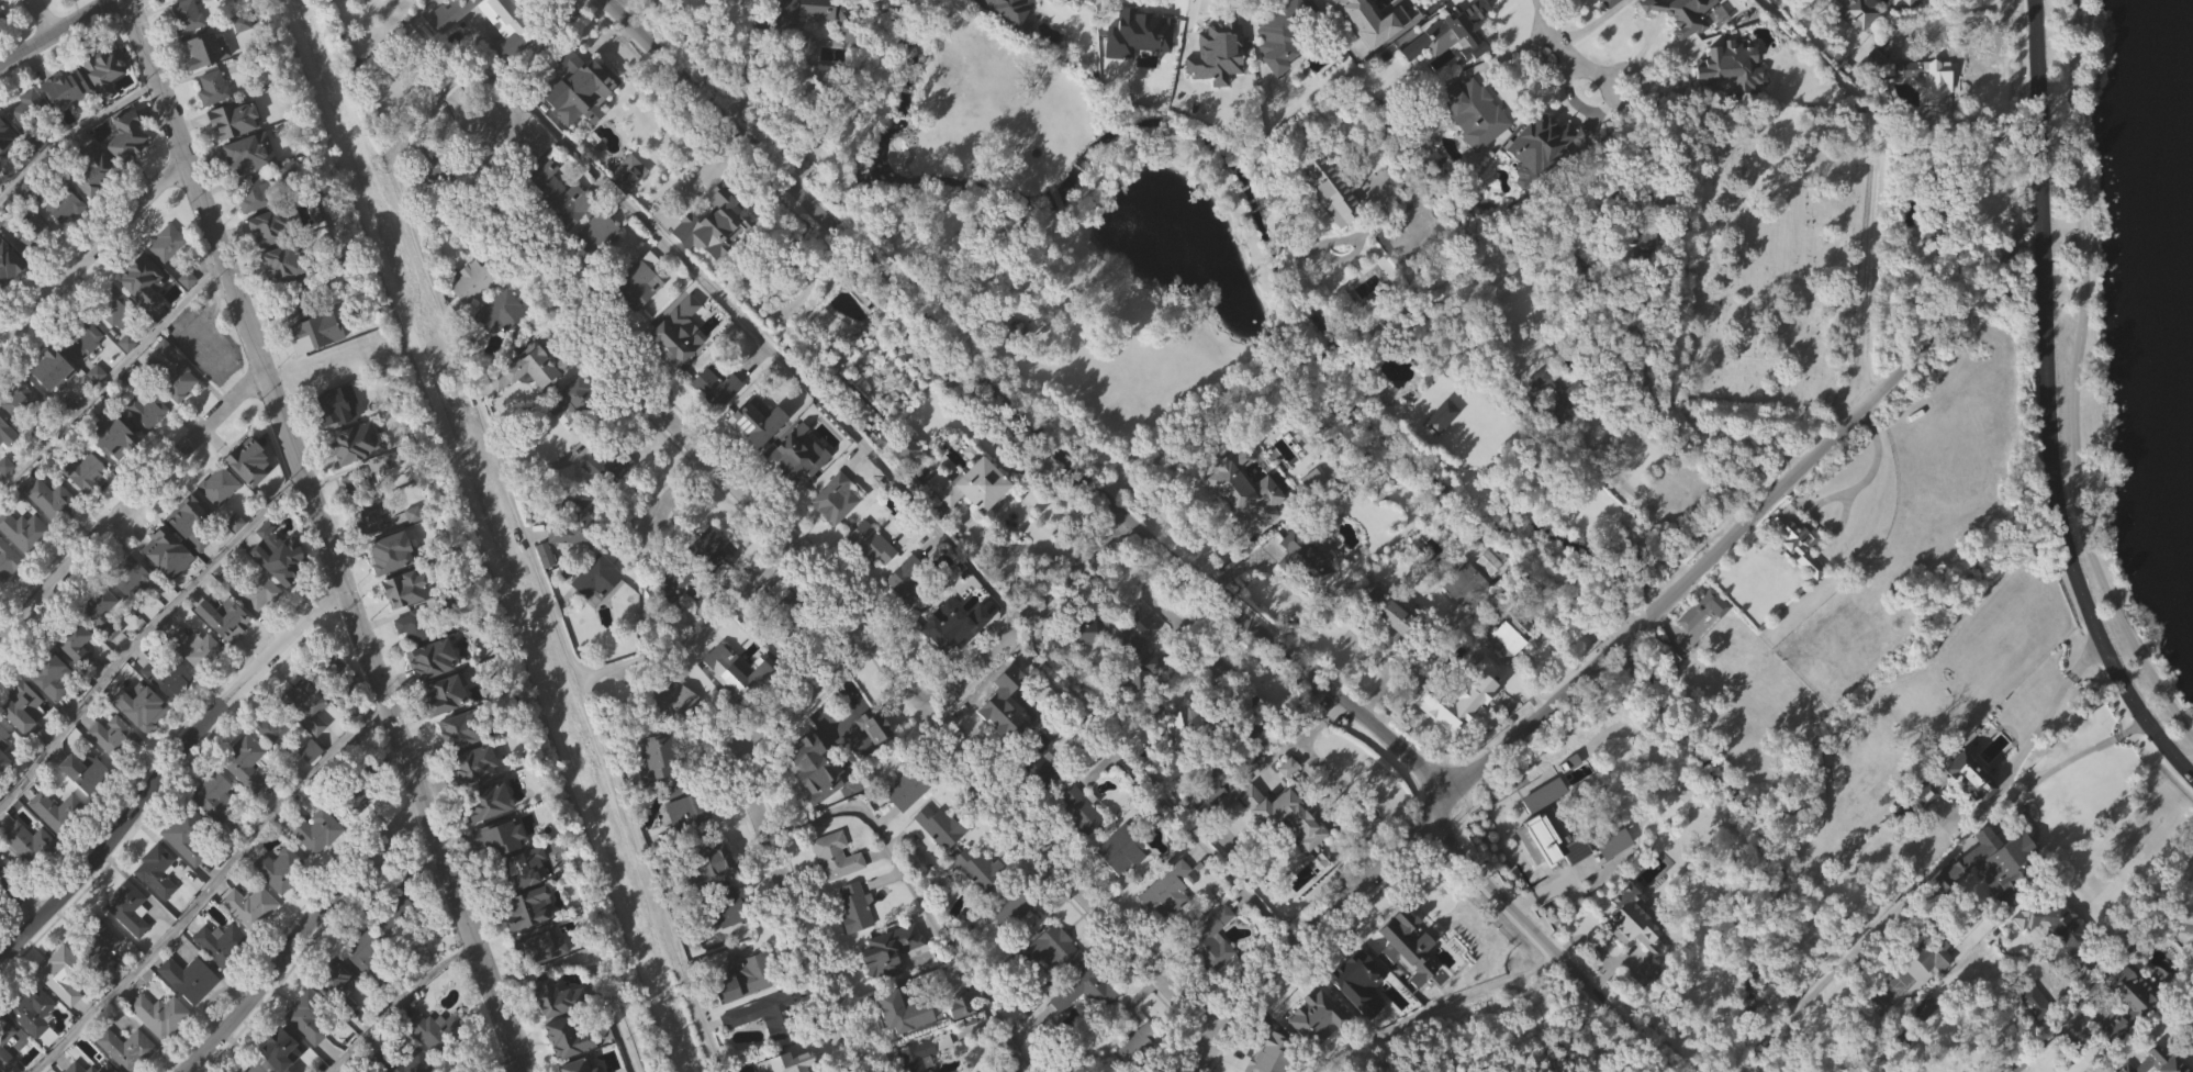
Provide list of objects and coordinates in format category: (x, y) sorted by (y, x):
building: (444, 0)
building: (727, 0)
building: (717, 1)
building: (1906, 1)
building: (1344, 2)
building: (1607, 3)
building: (69, 8)
building: (1011, 9)
building: (1857, 12)
building: (415, 13)
road: (43, 15)
building: (444, 15)
building: (2, 16)
building: (188, 18)
building: (508, 21)
building: (1678, 24)
building: (1284, 26)
road: (55, 31)
building: (855, 31)
building: (1003, 34)
building: (1686, 38)
building: (806, 43)
building: (188, 49)
building: (2, 51)
building: (445, 52)
building: (201, 53)
building: (504, 54)
building: (1137, 56)
building: (1219, 62)
road: (1553, 64)
building: (101, 66)
building: (1452, 69)
building: (1280, 70)
road: (765, 77)
building: (1920, 78)
building: (68, 85)
building: (1130, 85)
building: (577, 88)
building: (214, 89)
building: (1731, 102)
building: (104, 107)
building: (30, 109)
building: (1475, 114)
building: (1920, 115)
building: (67, 123)
building: (214, 123)
building: (227, 124)
building: (581, 124)
building: (4, 133)
road: (71, 135)
building: (127, 137)
building: (32, 141)
building: (1475, 147)
building: (246, 153)
building: (7, 170)
building: (94, 170)
building: (128, 172)
building: (494, 174)
building: (629, 178)
road: (1883, 180)
building: (1544, 183)
building: (1593, 183)
building: (1336, 190)
road: (399, 191)
building: (260, 194)
building: (61, 202)
building: (1647, 202)
building: (1932, 203)
building: (93, 204)
building: (447, 205)
building: (629, 208)
building: (1332, 225)
building: (29, 230)
building: (265, 232)
building: (569, 237)
building: (65, 239)
building: (167, 244)
road: (91, 252)
building: (716, 260)
building: (276, 261)
building: (8, 267)
building: (600, 267)
building: (1574, 267)
building: (35, 269)
building: (1647, 278)
building: (143, 280)
building: (169, 280)
building: (470, 282)
road: (232, 290)
building: (299, 297)
building: (9, 301)
building: (116, 305)
building: (501, 312)
building: (188, 314)
building: (640, 315)
building: (144, 316)
building: (473, 317)
park: (2125, 325)
building: (307, 330)
building: (81, 335)
building: (115, 340)
building: (206, 342)
building: (503, 347)
building: (679, 364)
building: (529, 366)
building: (317, 367)
building: (51, 368)
building: (86, 375)
road: (1249, 375)
building: (208, 377)
building: (128, 378)
building: (172, 378)
road: (110, 380)
road: (2074, 383)
building: (717, 387)
building: (1564, 393)
building: (19, 399)
building: (532, 403)
building: (54, 404)
building: (328, 405)
building: (577, 405)
road: (2051, 406)
building: (98, 407)
building: (146, 410)
building: (179, 416)
building: (1437, 420)
road: (1850, 420)
building: (2, 422)
building: (756, 422)
building: (717, 423)
building: (1564, 433)
building: (19, 434)
building: (573, 434)
building: (337, 443)
building: (147, 446)
building: (904, 446)
building: (1442, 453)
building: (759, 455)
building: (795, 455)
building: (250, 457)
building: (3, 459)
building: (604, 470)
building: (86, 471)
building: (116, 473)
building: (967, 482)
building: (908, 483)
building: (220, 485)
building: (358, 485)
road: (1855, 485)
road: (674, 489)
building: (799, 489)
road: (1635, 494)
building: (250, 495)
park: (474, 496)
building: (835, 499)
building: (1235, 499)
building: (7, 500)
building: (53, 500)
building: (608, 501)
road: (126, 505)
building: (87, 506)
building: (191, 515)
building: (982, 515)
building: (370, 516)
building: (220, 521)
building: (571, 523)
building: (944, 524)
road: (1836, 529)
building: (25, 531)
building: (54, 534)
building: (837, 535)
road: (478, 536)
road: (1140, 536)
building: (1797, 539)
building: (869, 544)
building: (160, 545)
building: (414, 548)
building: (708, 548)
building: (371, 552)
building: (1309, 555)
building: (383, 556)
building: (237, 557)
building: (577, 559)
building: (8, 560)
building: (193, 560)
building: (1486, 561)
building: (288, 562)
building: (1798, 572)
building: (131, 576)
building: (593, 578)
building: (871, 578)
building: (1519, 583)
building: (714, 584)
building: (1462, 584)
building: (169, 588)
building: (906, 588)
building: (546, 589)
building: (261, 591)
building: (399, 593)
building: (1307, 594)
building: (8, 595)
building: (672, 595)
building: (1698, 608)
building: (102, 611)
building: (135, 612)
building: (598, 612)
road: (1022, 616)
building: (1465, 616)
building: (910, 618)
building: (231, 619)
building: (678, 623)
building: (422, 625)
building: (1394, 625)
building: (259, 626)
building: (951, 626)
road: (866, 628)
road: (697, 632)
building: (799, 633)
road: (143, 634)
building: (1509, 634)
building: (76, 641)
road: (1616, 641)
building: (1125, 643)
building: (1703, 645)
building: (103, 648)
building: (195, 648)
building: (1394, 650)
building: (226, 652)
building: (434, 658)
building: (953, 660)
building: (1095, 665)
building: (1509, 672)
building: (49, 673)
building: (333, 674)
building: (168, 678)
building: (736, 678)
building: (77, 679)
building: (195, 681)
building: (1137, 684)
road: (2061, 690)
building: (449, 694)
building: (301, 695)
building: (335, 696)
building: (672, 697)
building: (996, 699)
building: (738, 702)
building: (143, 706)
building: (23, 707)
building: (52, 708)
building: (169, 712)
building: (1612, 714)
building: (1197, 724)
building: (276, 726)
building: (446, 729)
building: (465, 730)
building: (877, 730)
building: (1458, 733)
building: (675, 734)
building: (114, 737)
building: (3, 738)
building: (307, 738)
building: (998, 739)
road: (1297, 739)
building: (142, 741)
building: (24, 744)
road: (2084, 750)
building: (654, 757)
building: (875, 759)
building: (1034, 761)
building: (1178, 761)
building: (247, 762)
building: (460, 764)
building: (479, 764)
building: (814, 766)
road: (167, 769)
building: (114, 771)
road: (1328, 771)
building: (89, 774)
building: (5, 784)
building: (903, 784)
building: (312, 785)
building: (1212, 785)
building: (358, 788)
road: (1161, 792)
building: (657, 793)
building: (215, 796)
building: (247, 797)
building: (1040, 799)
building: (475, 800)
building: (493, 802)
building: (815, 803)
building: (87, 807)
building: (59, 812)
building: (1282, 815)
building: (1956, 816)
building: (908, 824)
road: (435, 825)
road: (753, 825)
road: (1362, 825)
building: (1213, 826)
building: (316, 829)
building: (216, 830)
building: (358, 834)
building: (188, 835)
building: (492, 839)
building: (1084, 841)
building: (31, 842)
building: (59, 845)
building: (1279, 848)
building: (690, 849)
building: (2000, 856)
building: (1542, 858)
building: (942, 860)
building: (1957, 862)
building: (317, 864)
building: (1291, 866)
building: (282, 869)
building: (525, 869)
building: (156, 870)
building: (188, 870)
building: (501, 872)
building: (31, 878)
building: (1614, 879)
road: (1401, 880)
building: (1126, 881)
building: (1576, 885)
road: (211, 886)
building: (837, 891)
road: (21, 895)
building: (711, 895)
building: (1987, 896)
building: (978, 901)
building: (282, 903)
building: (399, 903)
building: (250, 906)
building: (160, 907)
building: (128, 908)
building: (529, 908)
road: (918, 911)
building: (1171, 923)
road: (2189, 926)
building: (2059, 928)
road: (303, 934)
building: (251, 940)
building: (723, 941)
building: (1011, 941)
building: (130, 942)
building: (854, 942)
building: (97, 943)
building: (223, 945)
building: (540, 945)
building: (396, 947)
building: (1927, 952)
building: (368, 954)
building: (1636, 963)
building: (2063, 963)
road: (594, 968)
road: (1833, 968)
building: (60, 972)
building: (1217, 973)
building: (222, 976)
building: (542, 978)
building: (190, 979)
building: (101, 981)
building: (1055, 982)
building: (337, 985)
building: (367, 986)
building: (1932, 986)
building: (2128, 990)
building: (882, 992)
building: (558, 998)
building: (2033, 1002)
road: (398, 1003)
building: (63, 1008)
building: (749, 1008)
building: (33, 1012)
building: (190, 1013)
building: (160, 1014)
building: (1314, 1014)
road: (1973, 1016)
building: (309, 1017)
building: (340, 1018)
building: (1362, 1021)
building: (1088, 1025)
building: (2111, 1030)
building: (440, 1031)
road: (1467, 1031)
building: (2130, 1034)
building: (2033, 1035)
building: (5, 1038)
building: (562, 1038)
building: (962, 1039)
building: (904, 1043)
road: (2043, 1043)
building: (35, 1046)
building: (160, 1048)
building: (768, 1048)
building: (127, 1049)
building: (279, 1050)
building: (309, 1050)
building: (436, 1060)
building: (1260, 1060)
building: (404, 1061)
building: (2155, 1062)
building: (574, 1067)
building: (950, 1067)
building: (1142, 1067)
building: (89, 1068)
building: (255, 1068)
building: (138, 1069)
building: (233, 1071)

